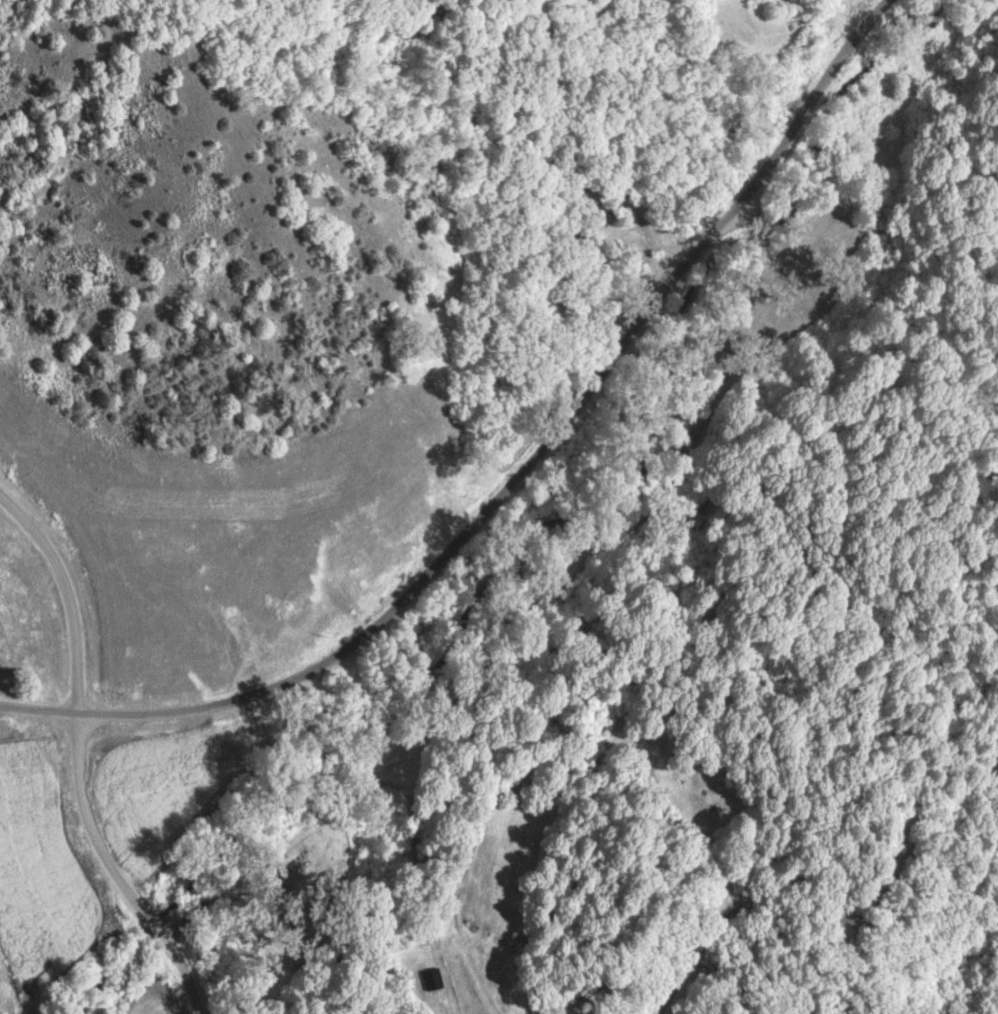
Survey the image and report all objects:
road: (516, 475)
road: (78, 760)
road: (309, 865)
building: (432, 978)

